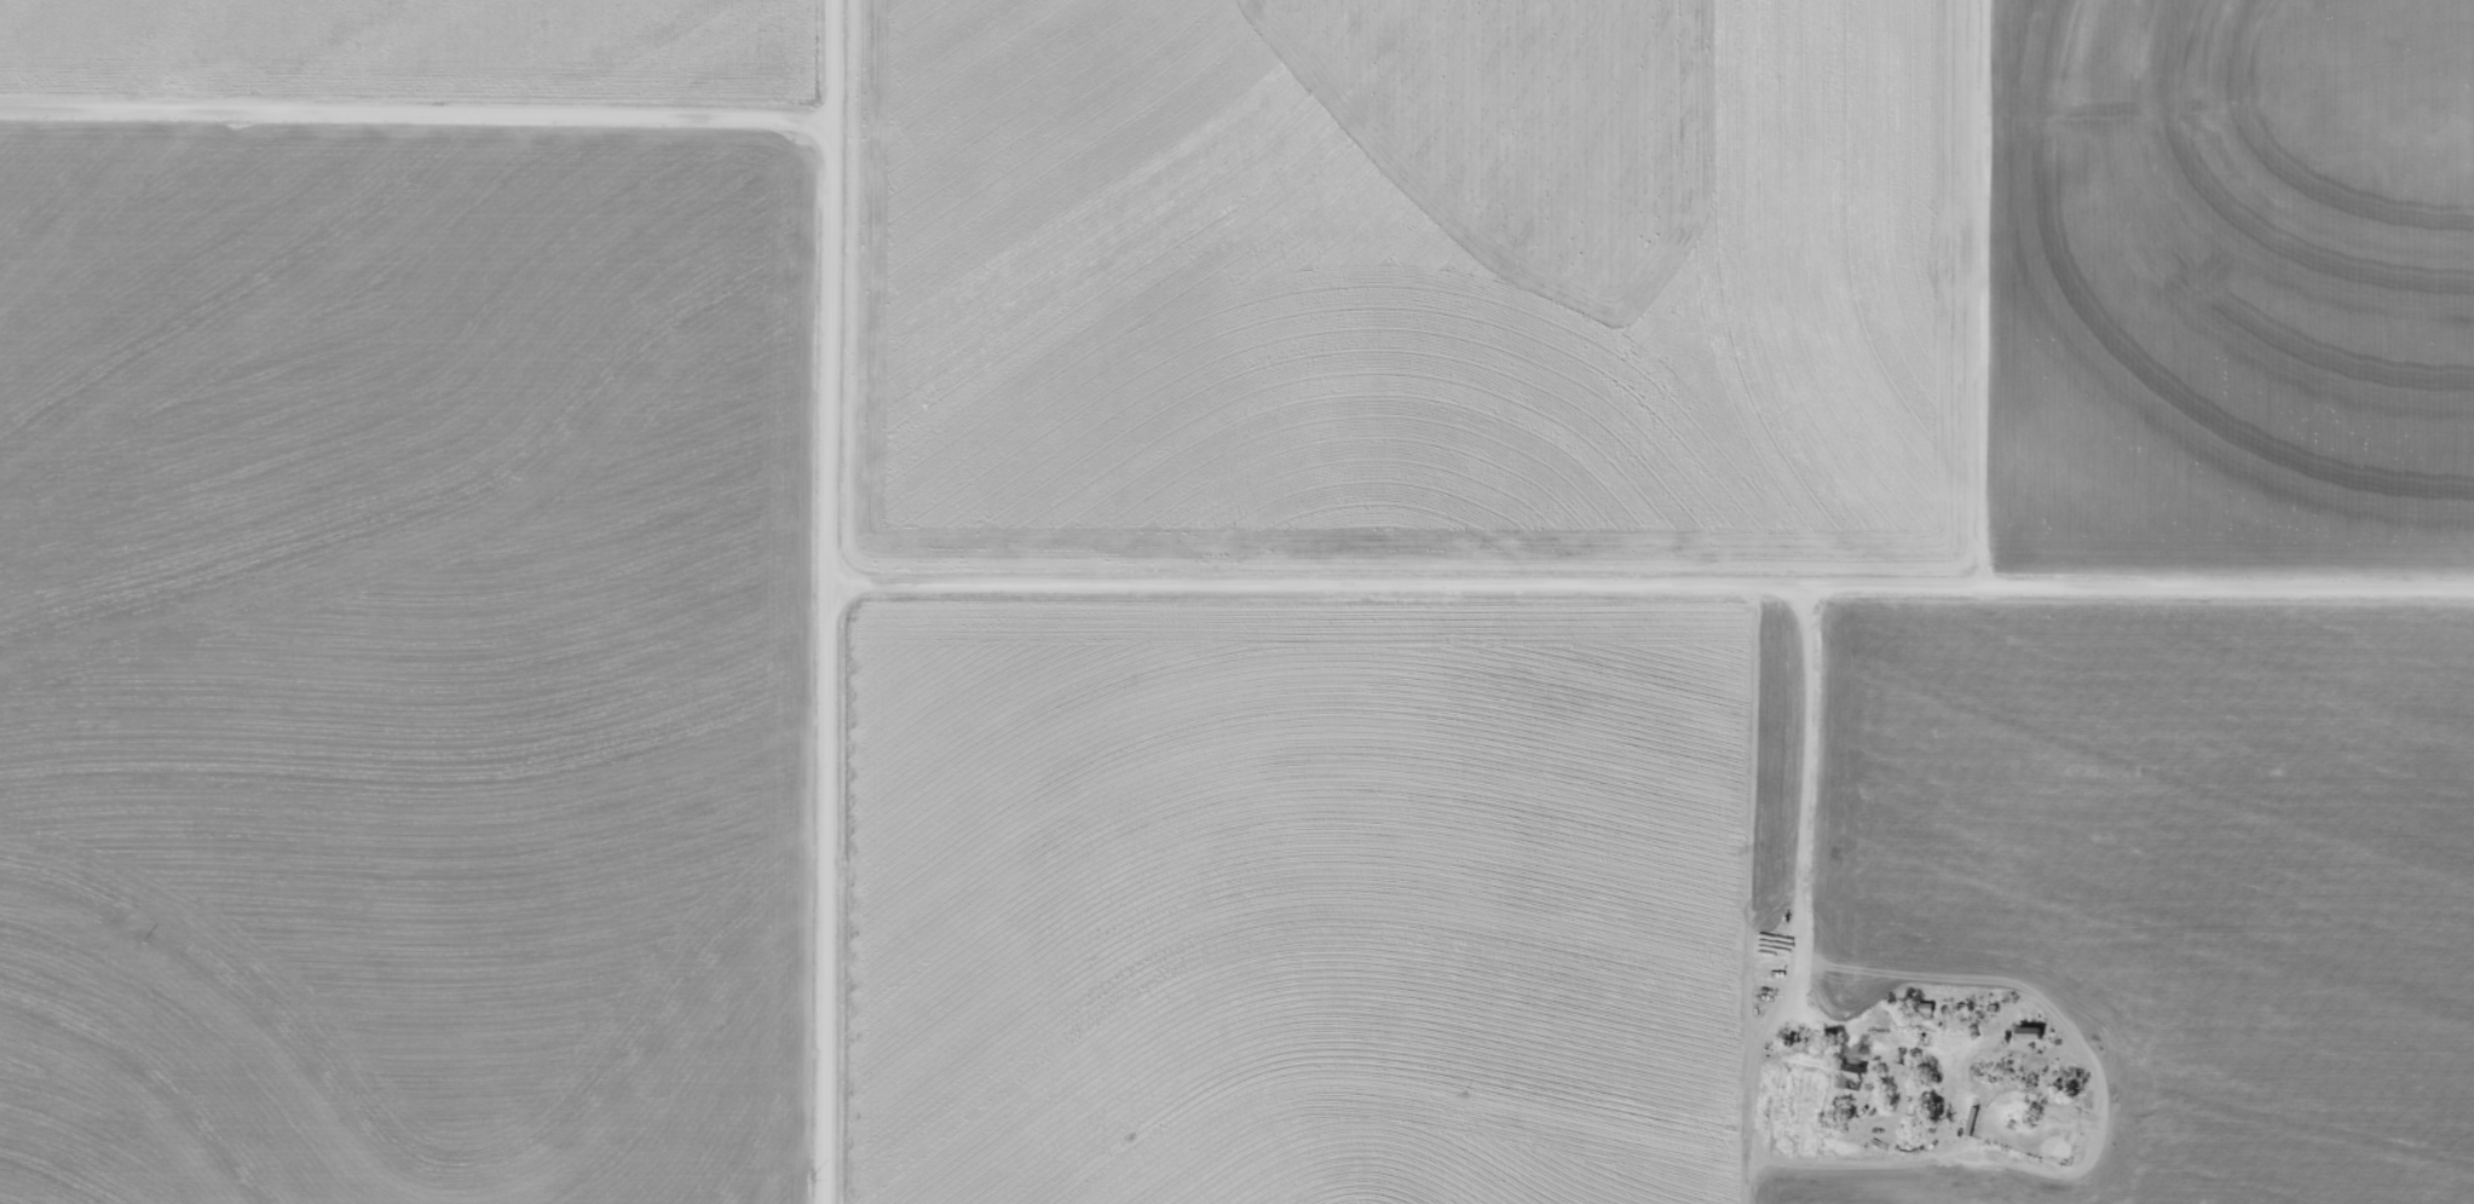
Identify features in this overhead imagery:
road: (419, 116)
road: (2018, 294)
road: (1657, 587)
road: (842, 601)
road: (1798, 825)

